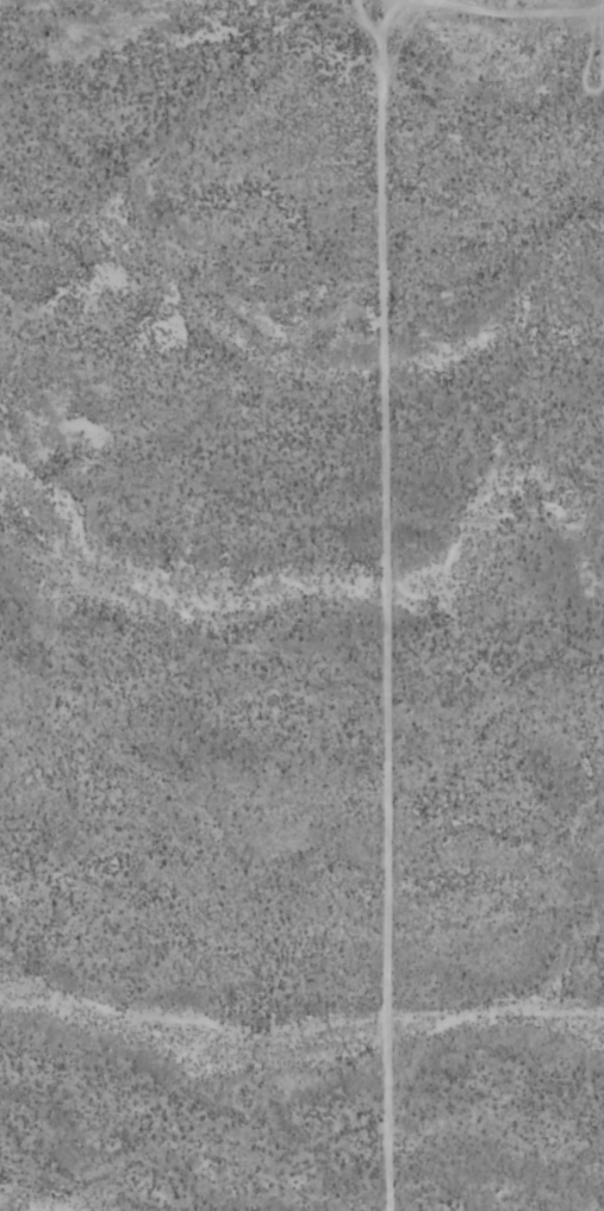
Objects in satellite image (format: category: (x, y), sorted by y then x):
road: (382, 603)

